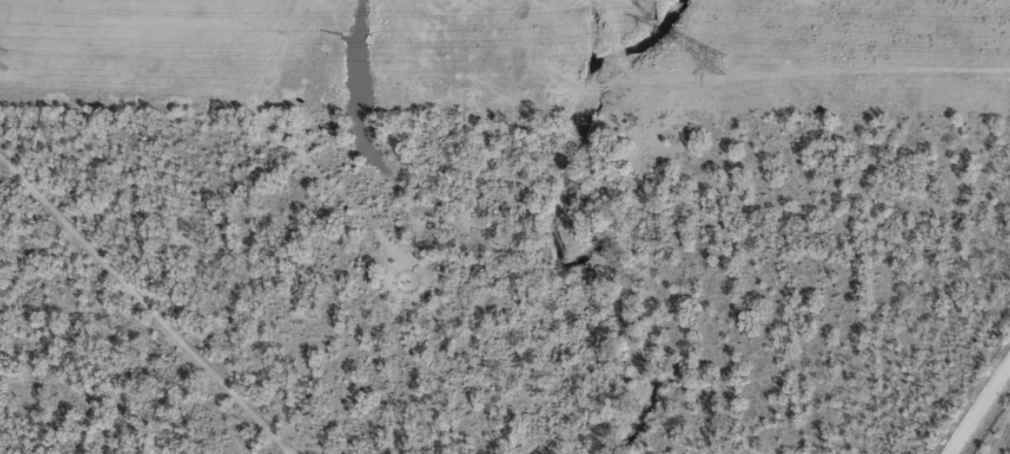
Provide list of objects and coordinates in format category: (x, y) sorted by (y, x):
power tower: (713, 63)
road: (990, 424)

